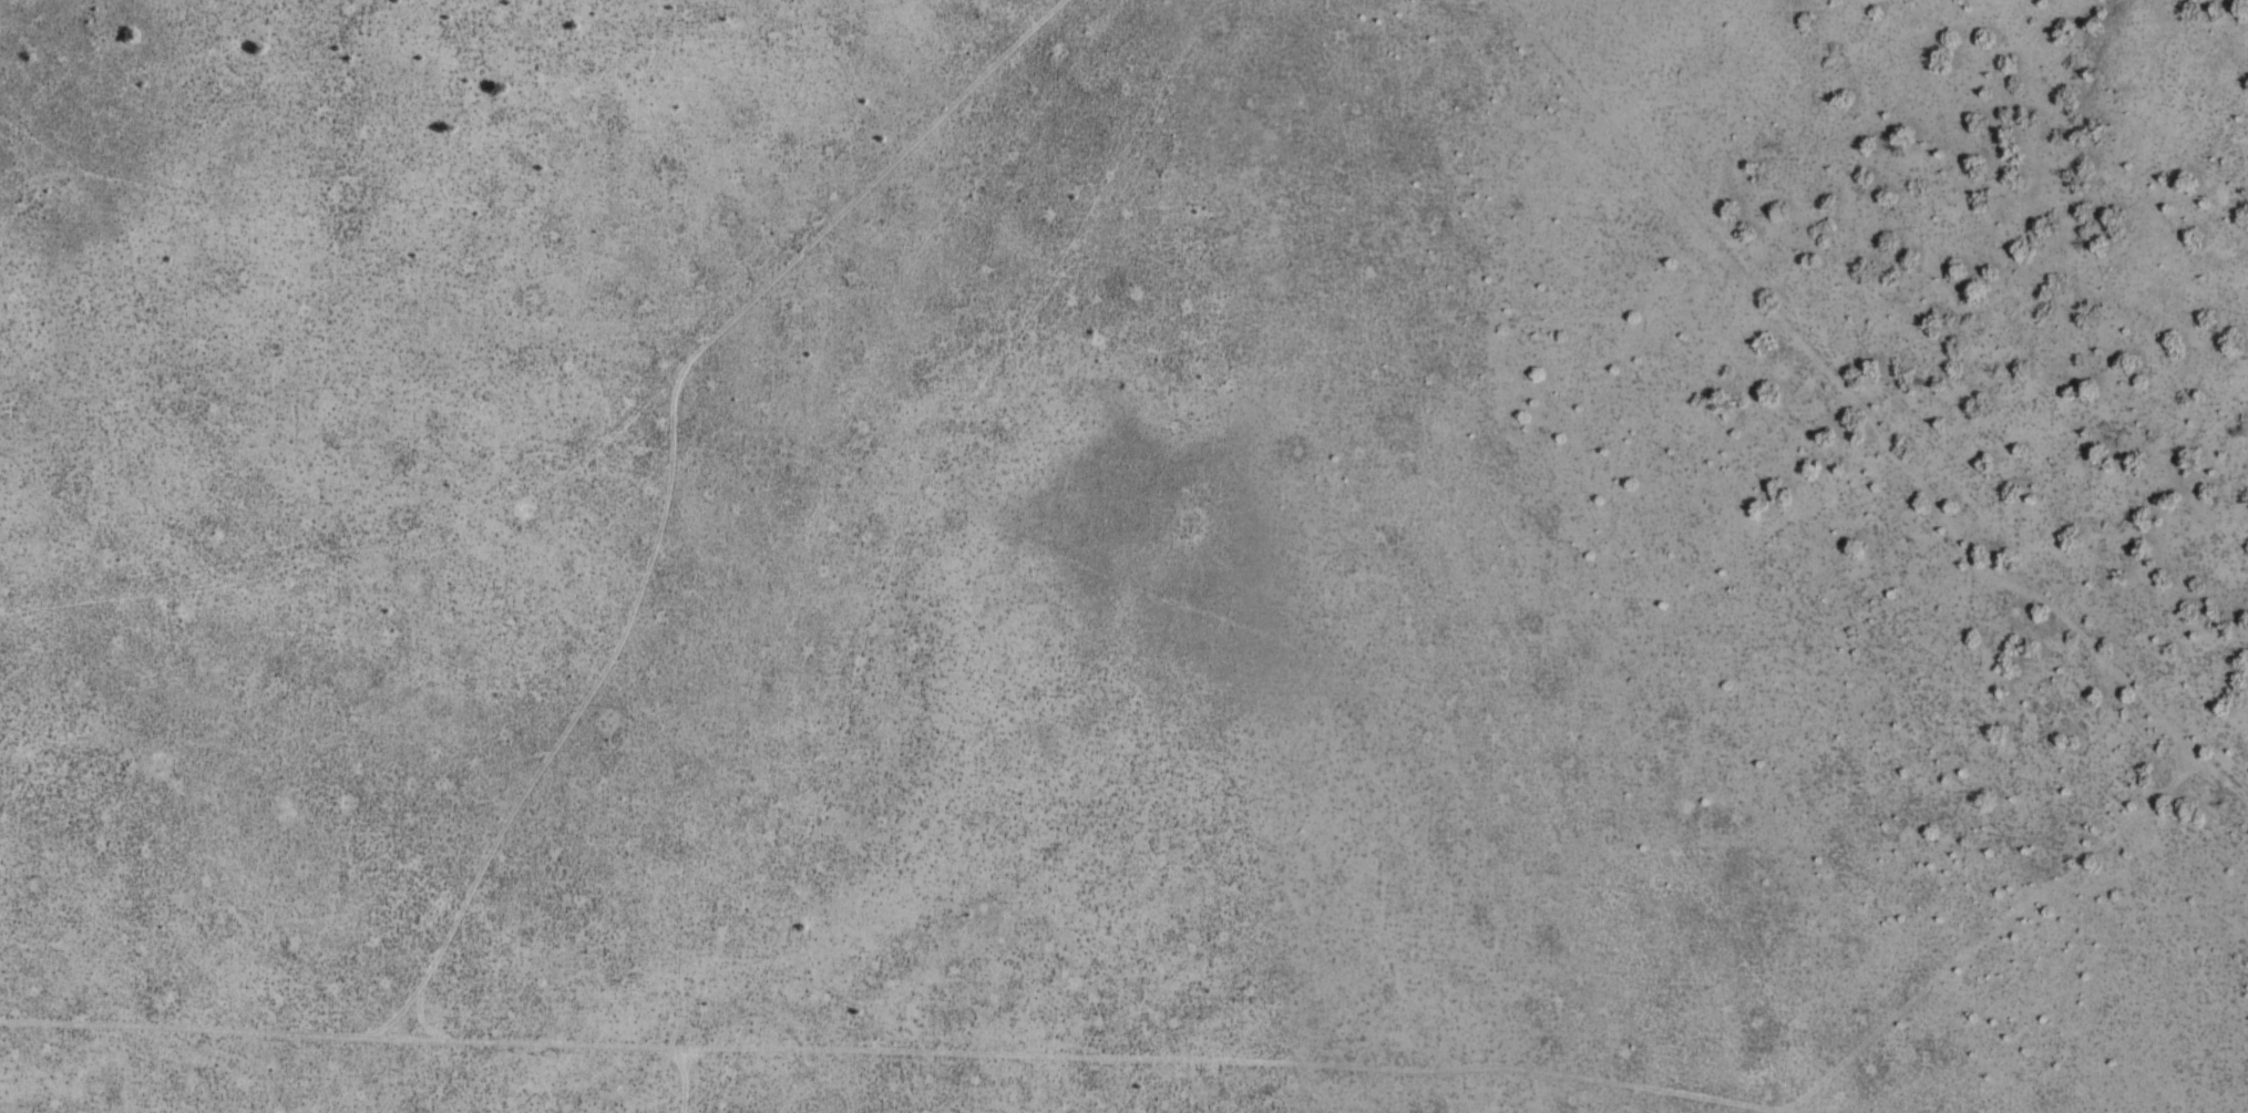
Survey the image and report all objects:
road: (1020, 1047)
road: (681, 1075)

